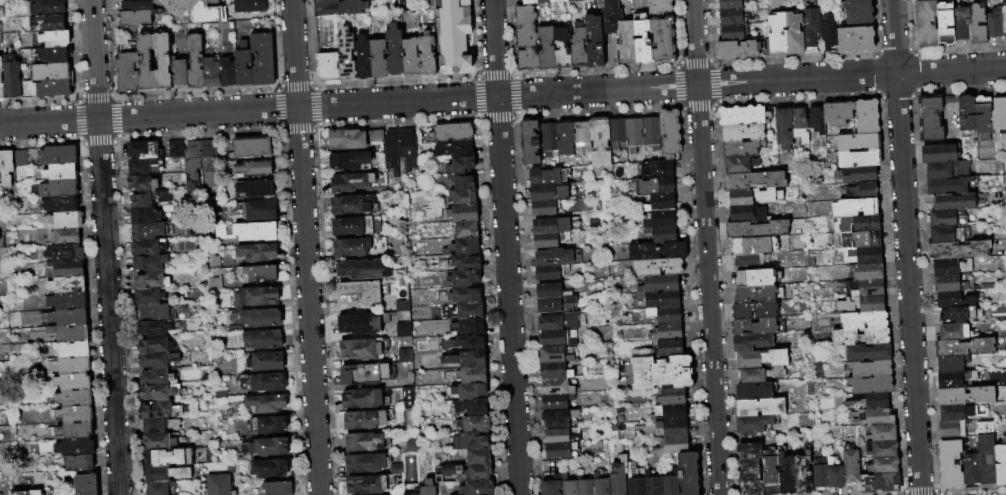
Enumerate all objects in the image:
building: (543, 2)
building: (732, 4)
building: (138, 5)
building: (251, 6)
building: (47, 7)
building: (339, 7)
building: (660, 7)
building: (208, 12)
building: (859, 12)
building: (610, 17)
building: (735, 17)
building: (135, 19)
building: (1004, 20)
building: (48, 23)
building: (947, 24)
building: (927, 25)
building: (995, 25)
building: (979, 26)
building: (525, 27)
building: (812, 27)
building: (963, 30)
building: (829, 31)
building: (454, 32)
building: (734, 33)
building: (794, 34)
building: (776, 36)
building: (55, 39)
building: (856, 40)
building: (595, 41)
building: (663, 41)
building: (627, 42)
building: (640, 43)
building: (579, 47)
building: (547, 49)
building: (562, 49)
building: (738, 50)
building: (395, 52)
building: (55, 54)
building: (427, 54)
building: (347, 56)
building: (411, 58)
building: (378, 59)
building: (263, 60)
building: (363, 60)
building: (527, 60)
building: (163, 61)
building: (145, 62)
building: (195, 62)
building: (243, 65)
building: (328, 66)
building: (128, 68)
building: (52, 72)
building: (228, 72)
building: (179, 73)
building: (211, 73)
building: (11, 77)
building: (1, 81)
building: (54, 88)
building: (28, 89)
road: (502, 95)
building: (839, 114)
building: (1000, 115)
building: (744, 116)
building: (868, 118)
building: (984, 118)
building: (932, 119)
building: (968, 119)
building: (817, 120)
building: (800, 126)
building: (785, 127)
building: (744, 133)
building: (451, 134)
building: (650, 134)
building: (669, 134)
building: (617, 135)
building: (632, 135)
building: (582, 136)
building: (564, 138)
building: (352, 139)
building: (547, 141)
building: (600, 142)
building: (529, 143)
building: (860, 143)
building: (250, 147)
building: (175, 148)
building: (461, 149)
building: (144, 150)
building: (399, 150)
building: (741, 150)
building: (940, 154)
building: (58, 155)
building: (20, 157)
building: (192, 159)
building: (350, 160)
building: (861, 160)
building: (208, 165)
building: (460, 165)
building: (742, 165)
building: (0, 166)
building: (7, 167)
building: (144, 167)
building: (254, 168)
building: (658, 169)
building: (948, 170)
building: (60, 172)
building: (858, 175)
building: (548, 176)
building: (755, 181)
building: (460, 182)
building: (351, 183)
building: (655, 186)
building: (947, 187)
building: (58, 188)
building: (255, 189)
building: (142, 191)
building: (868, 191)
building: (549, 192)
building: (163, 197)
building: (463, 197)
building: (744, 198)
building: (662, 202)
building: (955, 202)
building: (63, 204)
building: (352, 204)
building: (545, 208)
building: (856, 208)
building: (257, 210)
building: (463, 214)
building: (747, 214)
building: (144, 215)
building: (432, 215)
building: (663, 219)
building: (949, 219)
building: (64, 221)
building: (857, 224)
building: (556, 225)
building: (354, 226)
building: (465, 230)
building: (759, 230)
building: (144, 231)
building: (247, 231)
building: (664, 235)
building: (947, 235)
building: (66, 236)
building: (550, 240)
building: (858, 240)
building: (755, 246)
road: (105, 247)
building: (147, 247)
road: (304, 247)
building: (357, 247)
building: (463, 247)
road: (504, 247)
road: (706, 247)
road: (905, 247)
building: (656, 251)
building: (959, 251)
building: (257, 252)
building: (65, 253)
building: (865, 256)
building: (550, 258)
building: (211, 259)
building: (149, 263)
building: (465, 263)
building: (748, 264)
building: (658, 266)
building: (952, 268)
building: (65, 269)
building: (360, 270)
building: (258, 273)
building: (548, 273)
building: (866, 273)
building: (463, 278)
building: (756, 278)
building: (150, 281)
building: (214, 284)
building: (660, 284)
building: (67, 285)
building: (950, 285)
building: (866, 289)
building: (551, 291)
building: (360, 293)
building: (759, 294)
building: (256, 296)
building: (460, 296)
building: (148, 297)
building: (660, 299)
building: (949, 300)
building: (67, 301)
building: (556, 304)
building: (863, 305)
building: (463, 311)
building: (756, 311)
building: (162, 313)
building: (664, 315)
building: (959, 315)
building: (68, 317)
building: (261, 318)
building: (559, 321)
building: (865, 321)
building: (358, 324)
building: (464, 327)
building: (153, 328)
building: (759, 328)
building: (234, 329)
building: (401, 329)
building: (665, 332)
building: (955, 332)
building: (69, 333)
building: (557, 338)
building: (861, 338)
building: (263, 339)
building: (467, 343)
building: (753, 343)
building: (385, 344)
building: (155, 345)
building: (670, 348)
building: (966, 348)
building: (72, 350)
building: (359, 350)
building: (554, 354)
building: (870, 354)
building: (399, 356)
building: (465, 359)
building: (763, 359)
building: (157, 360)
building: (265, 361)
building: (951, 365)
building: (72, 366)
building: (872, 369)
building: (556, 371)
building: (660, 373)
building: (364, 375)
building: (471, 375)
building: (761, 375)
building: (156, 378)
building: (953, 380)
building: (72, 382)
building: (261, 382)
building: (557, 386)
building: (872, 386)
building: (467, 391)
building: (158, 392)
building: (755, 392)
building: (970, 396)
building: (671, 397)
building: (73, 398)
building: (362, 399)
building: (557, 401)
building: (878, 401)
building: (265, 403)
building: (470, 408)
building: (762, 408)
building: (408, 409)
building: (159, 410)
building: (669, 413)
building: (962, 413)
building: (73, 414)
building: (560, 418)
building: (881, 418)
building: (364, 420)
building: (268, 424)
building: (755, 424)
building: (159, 425)
building: (472, 425)
building: (667, 429)
building: (950, 430)
building: (74, 431)
building: (884, 434)
building: (561, 437)
building: (157, 442)
building: (364, 442)
building: (470, 442)
building: (411, 446)
building: (671, 446)
building: (74, 447)
building: (266, 447)
building: (883, 449)
building: (560, 450)
building: (987, 453)
building: (242, 457)
building: (167, 458)
building: (79, 463)
building: (365, 463)
building: (477, 464)
building: (951, 464)
building: (1001, 465)
building: (852, 466)
building: (885, 466)
building: (229, 468)
building: (269, 468)
building: (751, 468)
building: (397, 469)
building: (972, 469)
building: (452, 472)
building: (688, 473)
building: (165, 474)
building: (805, 474)
building: (618, 476)
building: (788, 476)
building: (821, 477)
building: (837, 477)
building: (635, 480)
building: (772, 482)
building: (670, 483)
building: (86, 484)
building: (881, 484)
building: (218, 485)
building: (368, 485)
building: (600, 485)
building: (552, 486)
building: (568, 486)
building: (652, 486)
building: (584, 487)
building: (159, 488)
building: (277, 488)
building: (427, 488)
building: (475, 488)
building: (36, 492)
building: (19, 493)
building: (411, 494)

